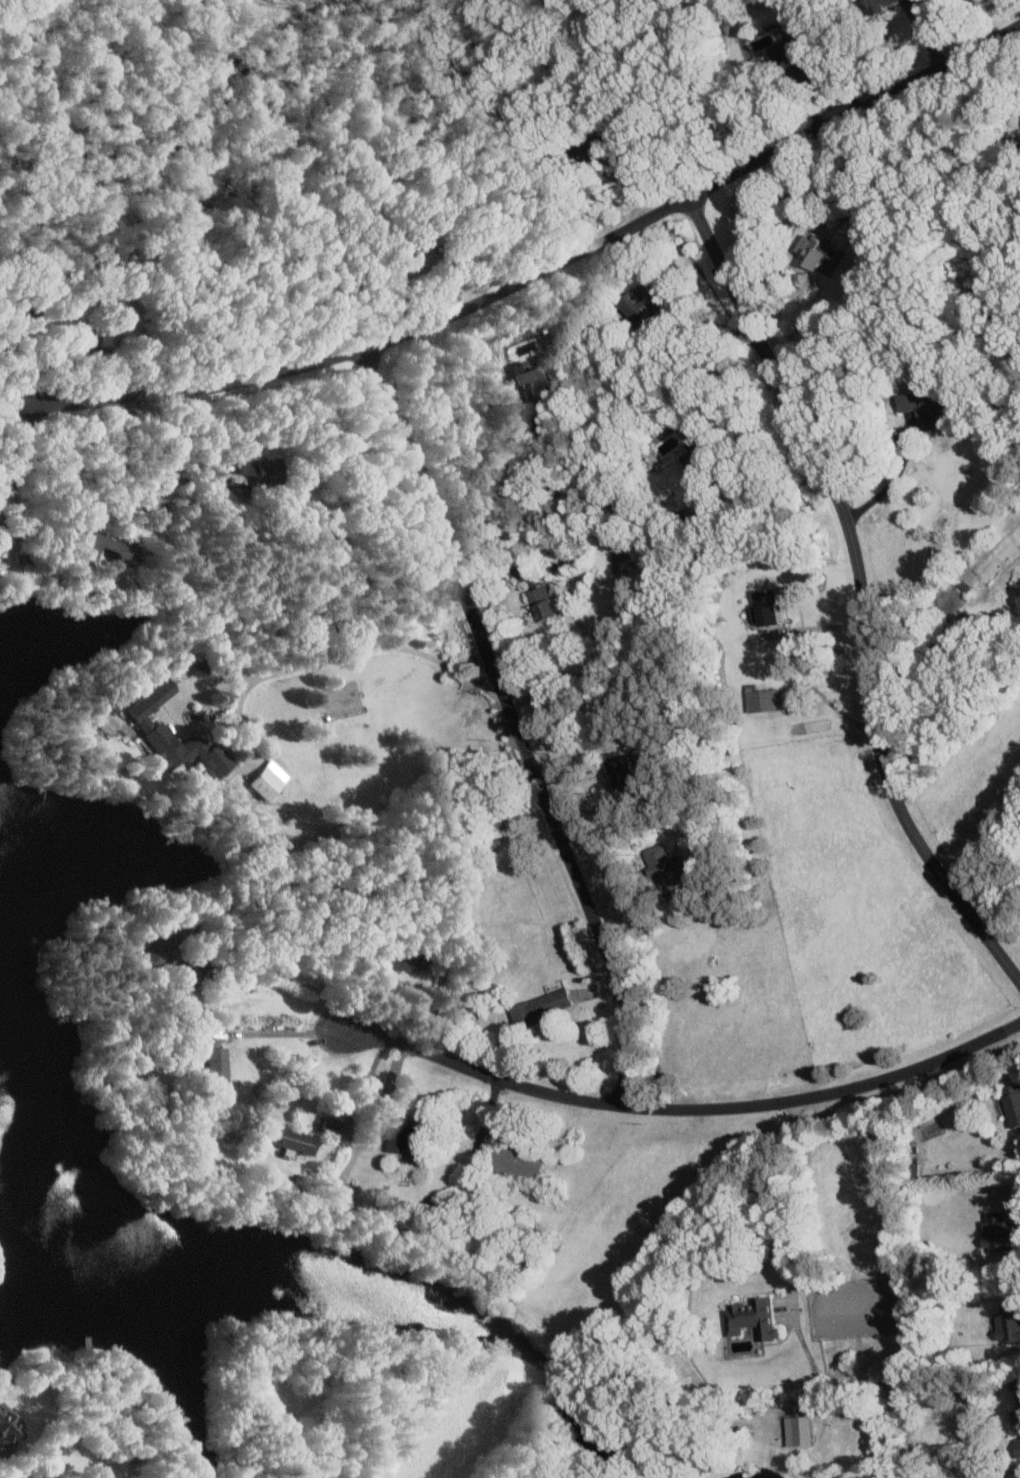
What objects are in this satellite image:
building: (878, 5)
river: (58, 44)
road: (818, 72)
building: (815, 252)
road: (540, 272)
building: (363, 356)
building: (529, 387)
building: (922, 406)
road: (11, 433)
road: (892, 480)
road: (756, 488)
road: (507, 500)
road: (282, 522)
building: (97, 542)
road: (860, 592)
building: (541, 601)
building: (761, 606)
road: (812, 627)
road: (373, 648)
building: (758, 698)
road: (513, 723)
building: (151, 730)
road: (583, 748)
building: (267, 779)
building: (659, 864)
road: (228, 958)
road: (438, 1006)
building: (538, 1006)
road: (282, 1032)
building: (211, 1067)
building: (1011, 1103)
road: (682, 1108)
building: (326, 1122)
building: (288, 1139)
building: (398, 1139)
road: (354, 1141)
building: (513, 1162)
road: (767, 1194)
building: (993, 1232)
building: (750, 1317)
building: (1006, 1322)
building: (795, 1430)
building: (9, 1431)
building: (1017, 1447)
building: (41, 1477)

